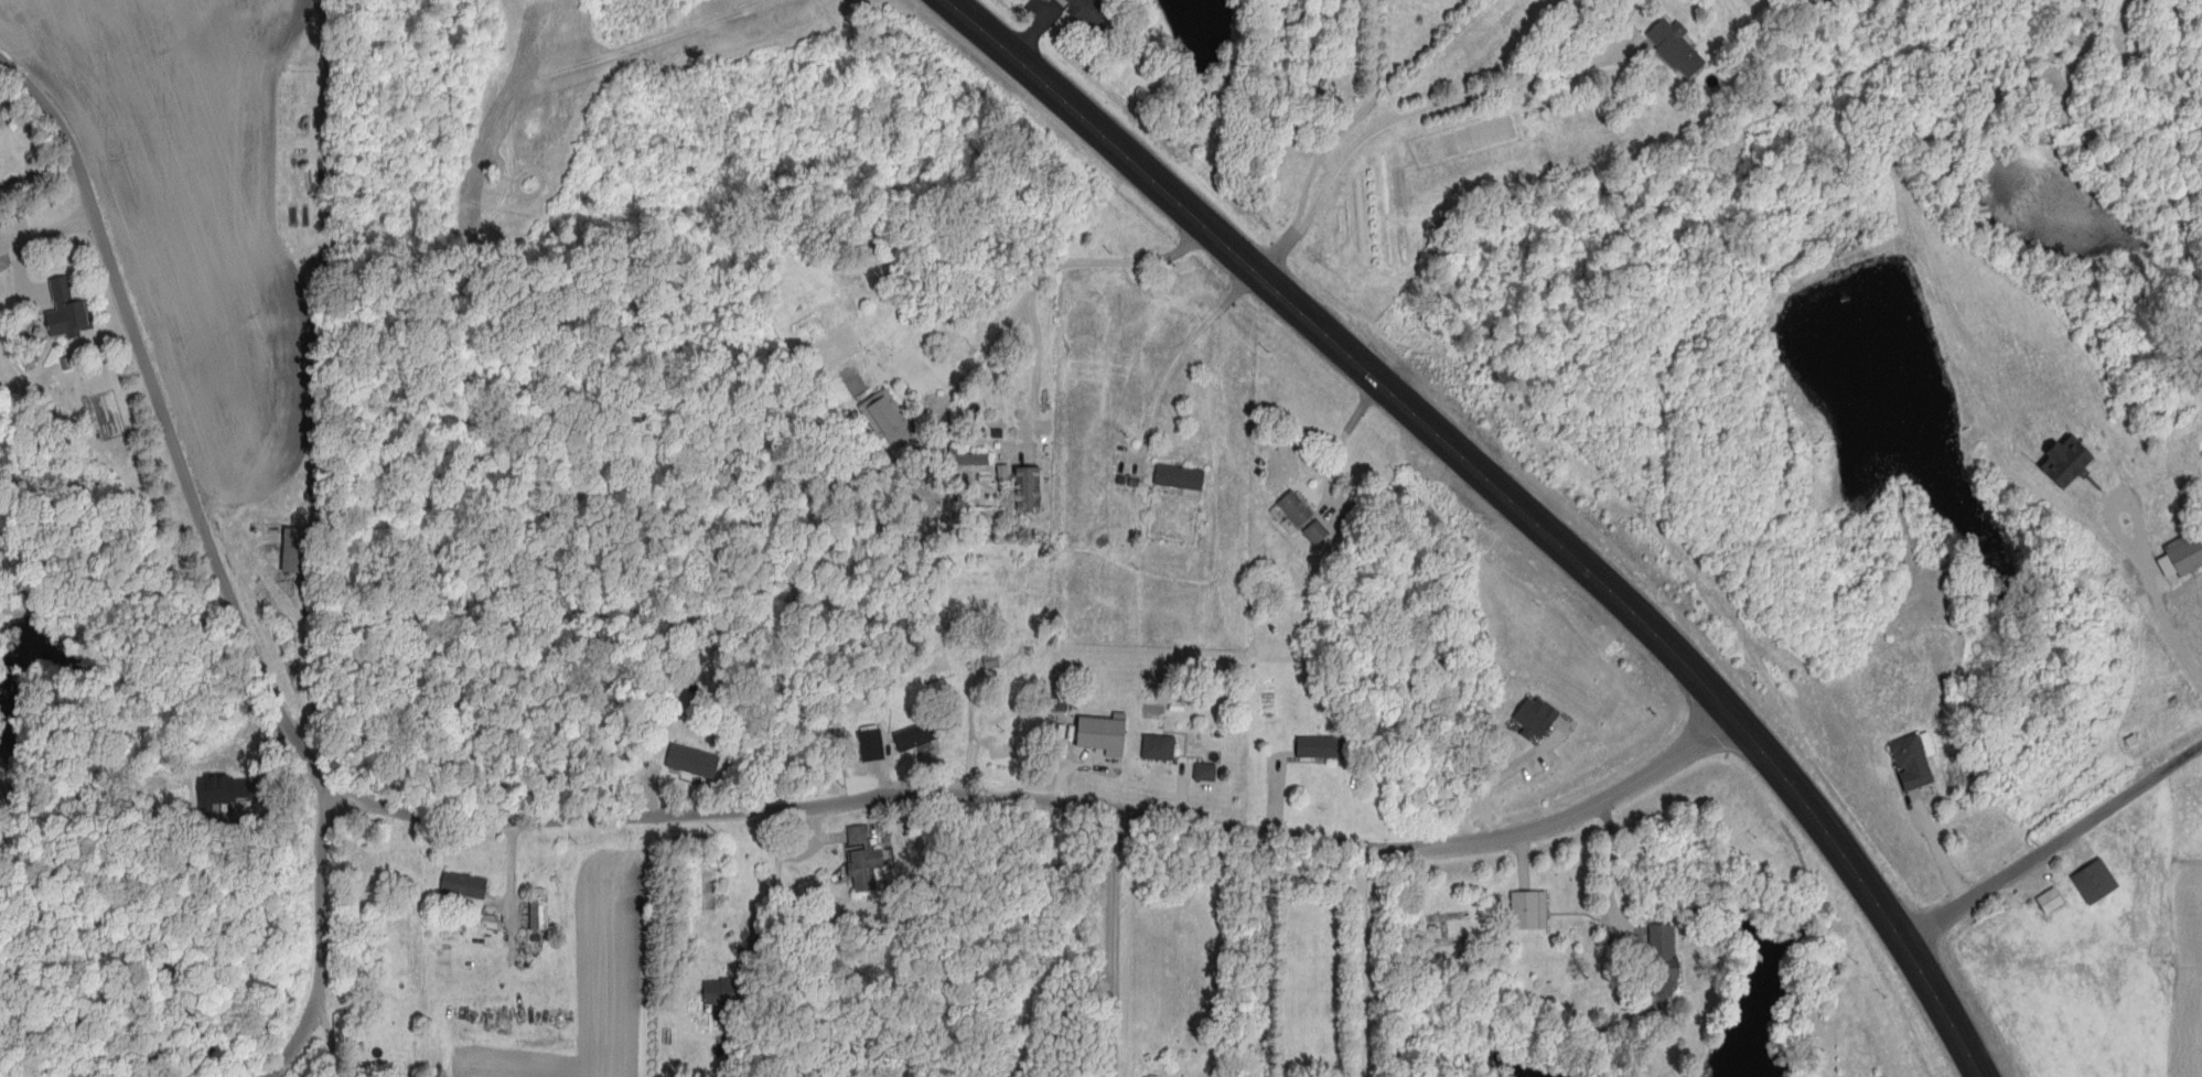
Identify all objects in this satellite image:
building: (1094, 13)
building: (1678, 47)
road: (1401, 119)
road: (1357, 121)
building: (0, 271)
road: (1054, 272)
building: (69, 312)
road: (1185, 351)
building: (891, 421)
road: (1346, 441)
building: (966, 460)
building: (1182, 478)
building: (1031, 492)
road: (1518, 497)
road: (2120, 505)
building: (1298, 510)
building: (1319, 534)
building: (298, 552)
building: (2188, 554)
road: (2165, 622)
building: (920, 737)
building: (873, 745)
road: (2201, 746)
building: (1161, 748)
building: (1320, 750)
building: (1005, 753)
building: (695, 763)
building: (1914, 764)
building: (1207, 773)
road: (1274, 799)
road: (645, 811)
road: (2054, 843)
road: (791, 858)
building: (868, 858)
road: (1613, 866)
building: (2098, 883)
building: (466, 887)
building: (2055, 901)
building: (1532, 912)
building: (541, 915)
road: (323, 937)
road: (1115, 941)
road: (1271, 954)
road: (1368, 960)
building: (1665, 961)
building: (723, 992)

